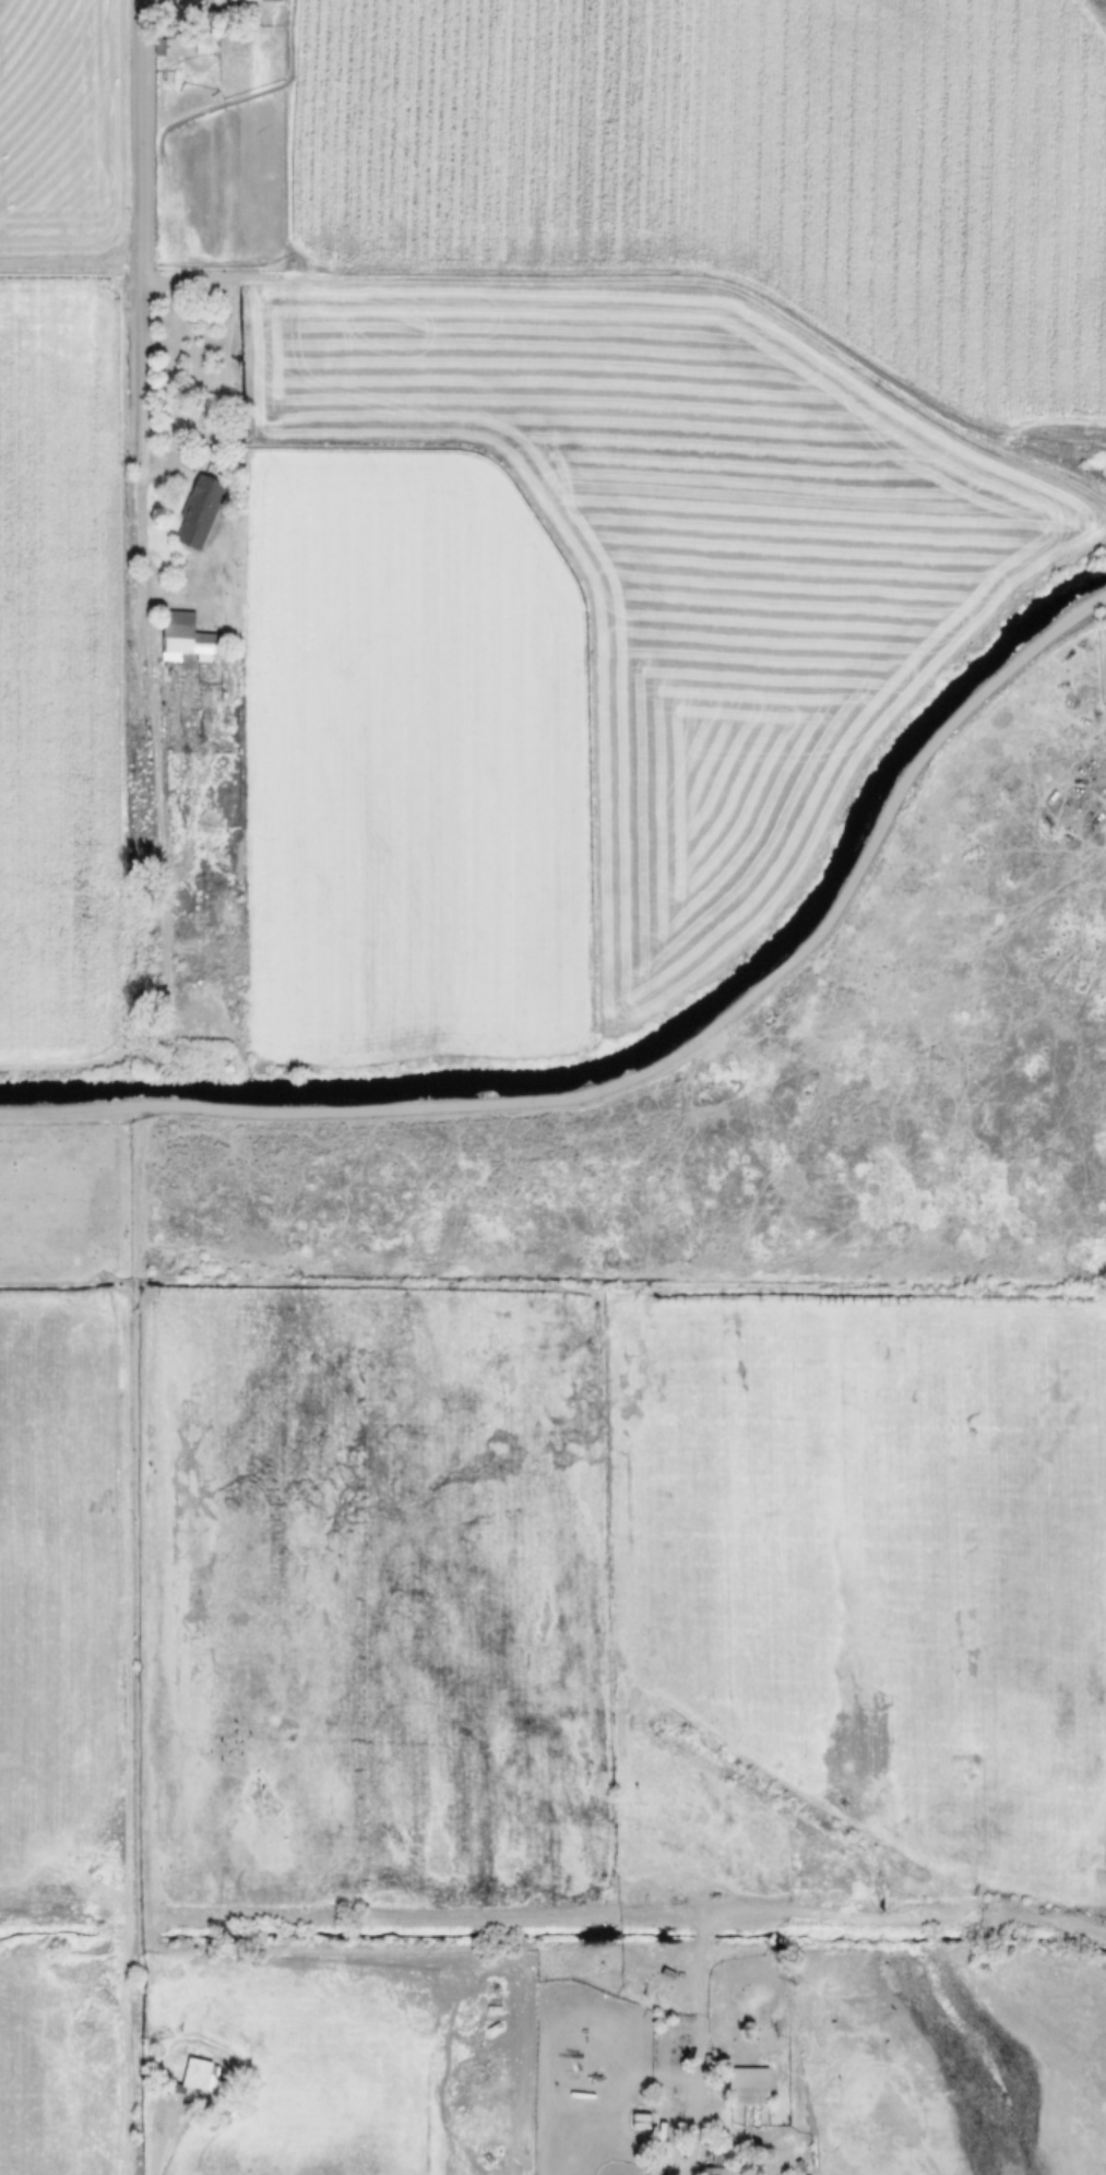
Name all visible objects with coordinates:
building: (254, 0)
road: (132, 316)
building: (200, 511)
building: (185, 637)
road: (656, 1071)
building: (200, 2076)
building: (750, 2084)
road: (159, 2138)
road: (701, 2168)
building: (712, 2170)

